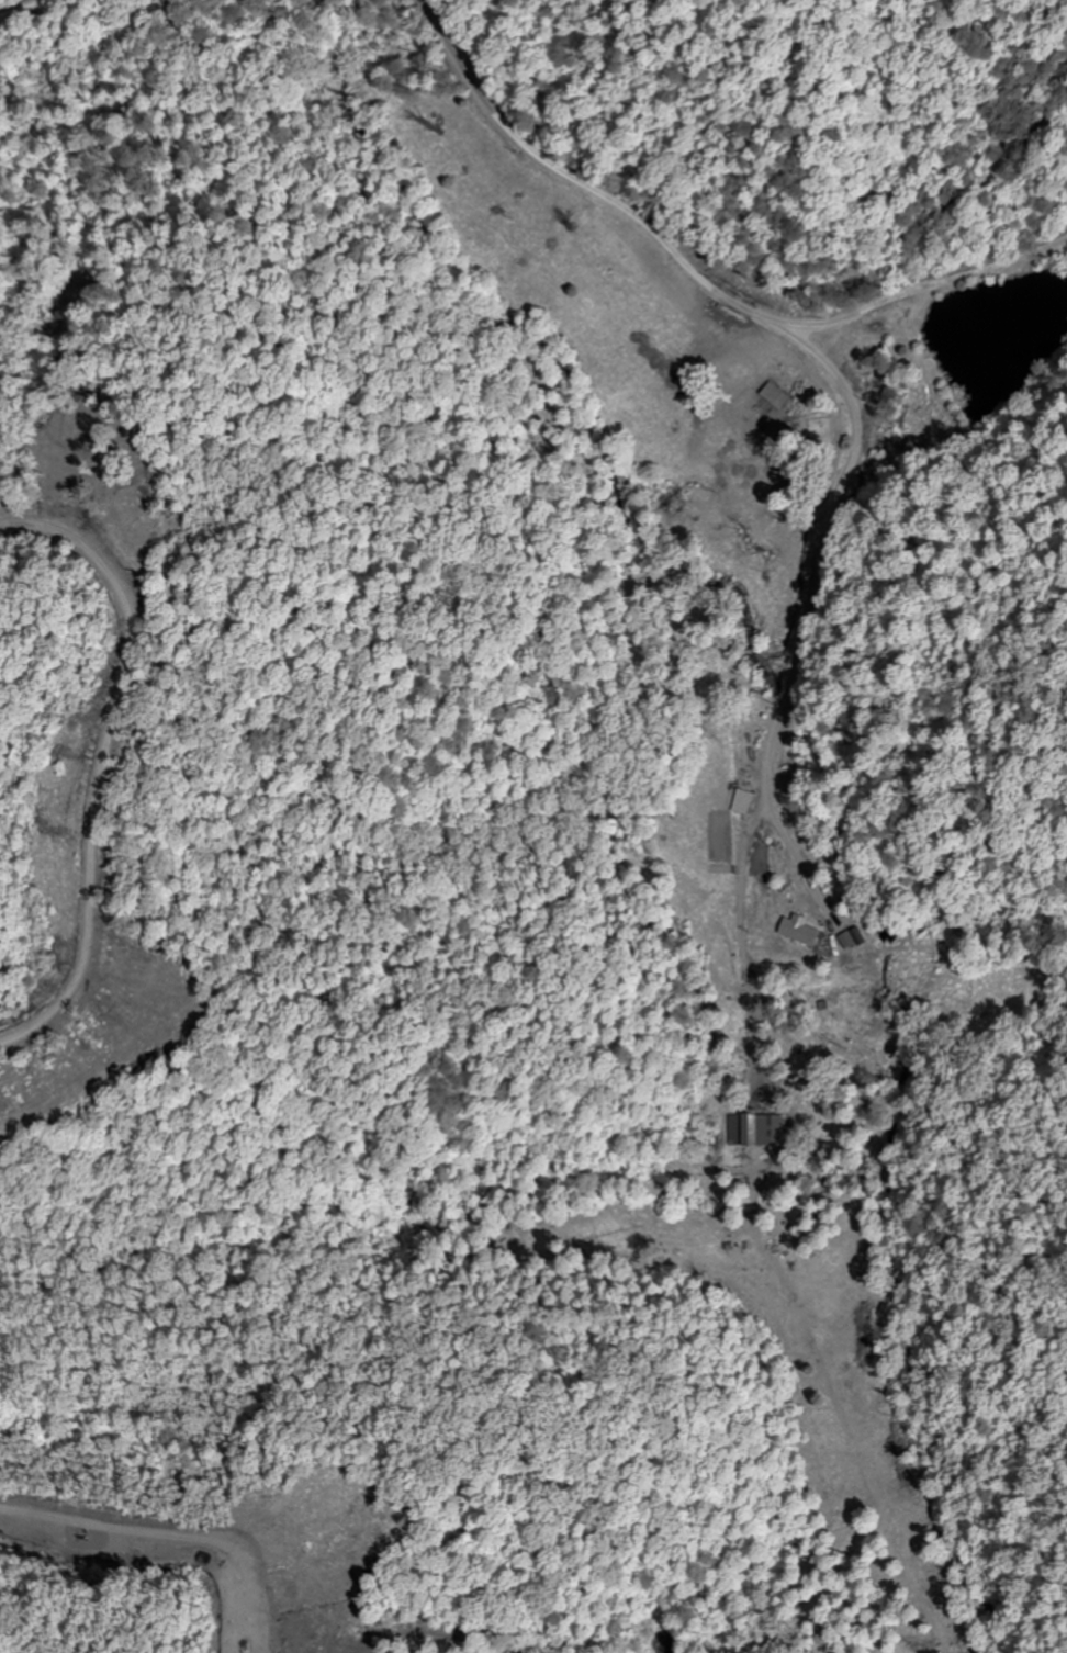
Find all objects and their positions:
road: (760, 314)
road: (767, 785)
building: (741, 801)
building: (796, 929)
building: (737, 1128)
building: (763, 1129)

